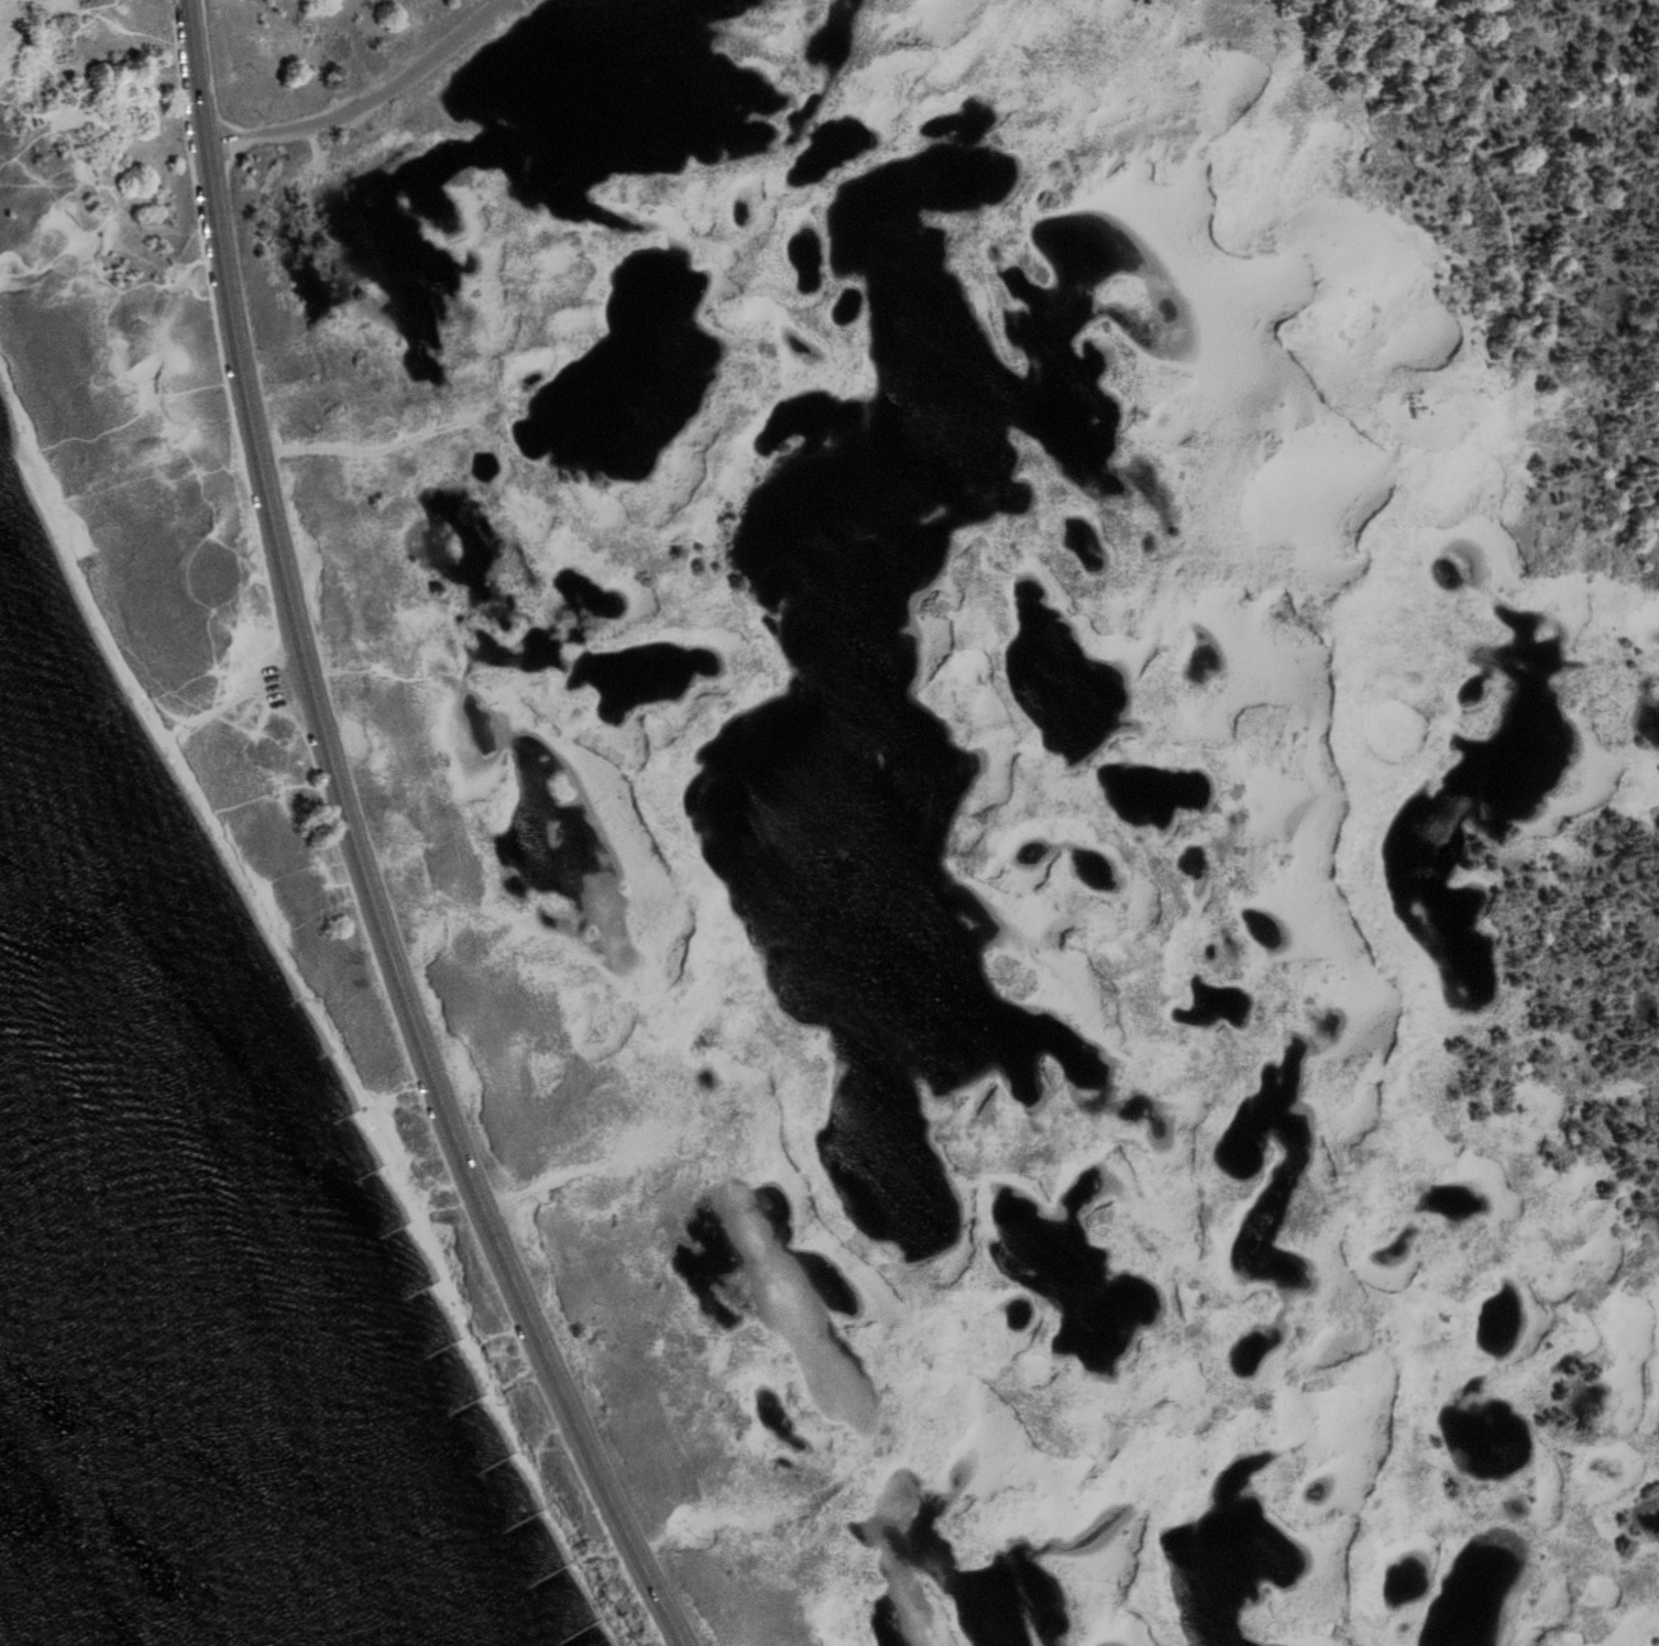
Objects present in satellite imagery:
road: (371, 97)
road: (1498, 207)
park: (896, 770)
road: (359, 845)

